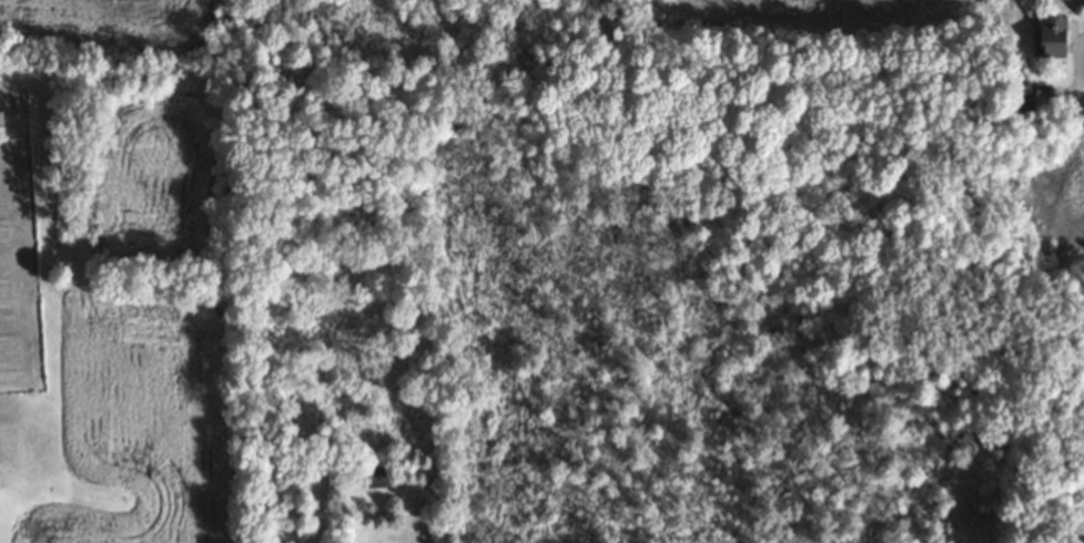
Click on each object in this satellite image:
building: (1048, 37)
building: (1020, 99)
building: (0, 130)
building: (376, 475)

